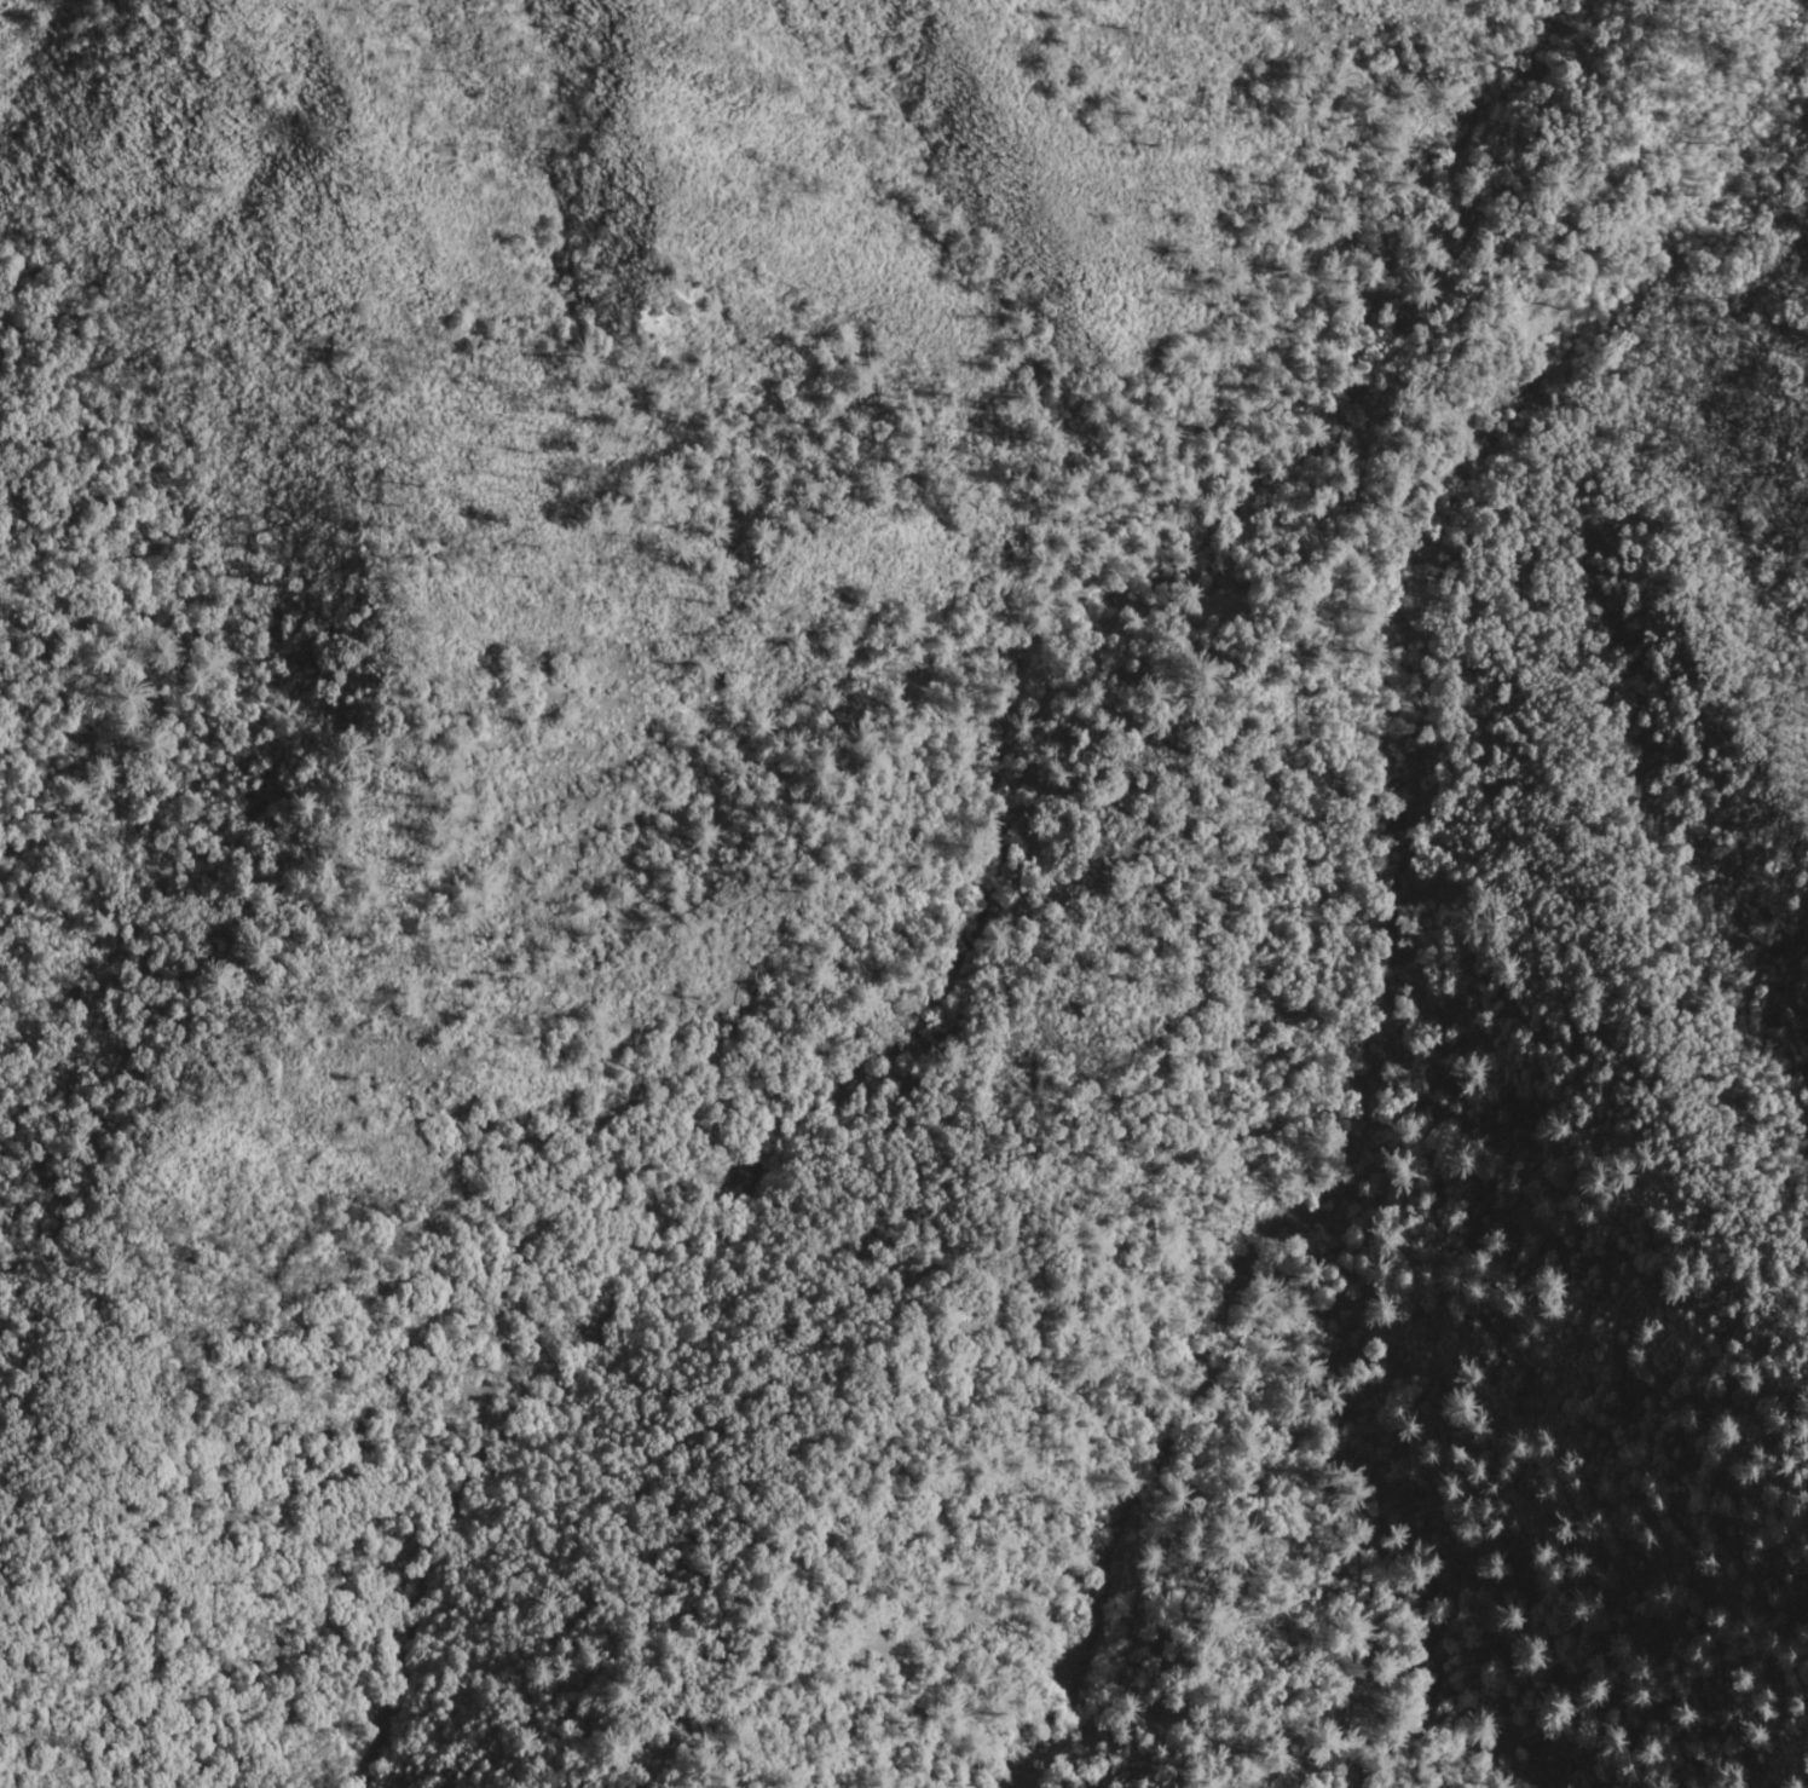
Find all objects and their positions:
road: (1298, 954)
road: (1800, 1669)

